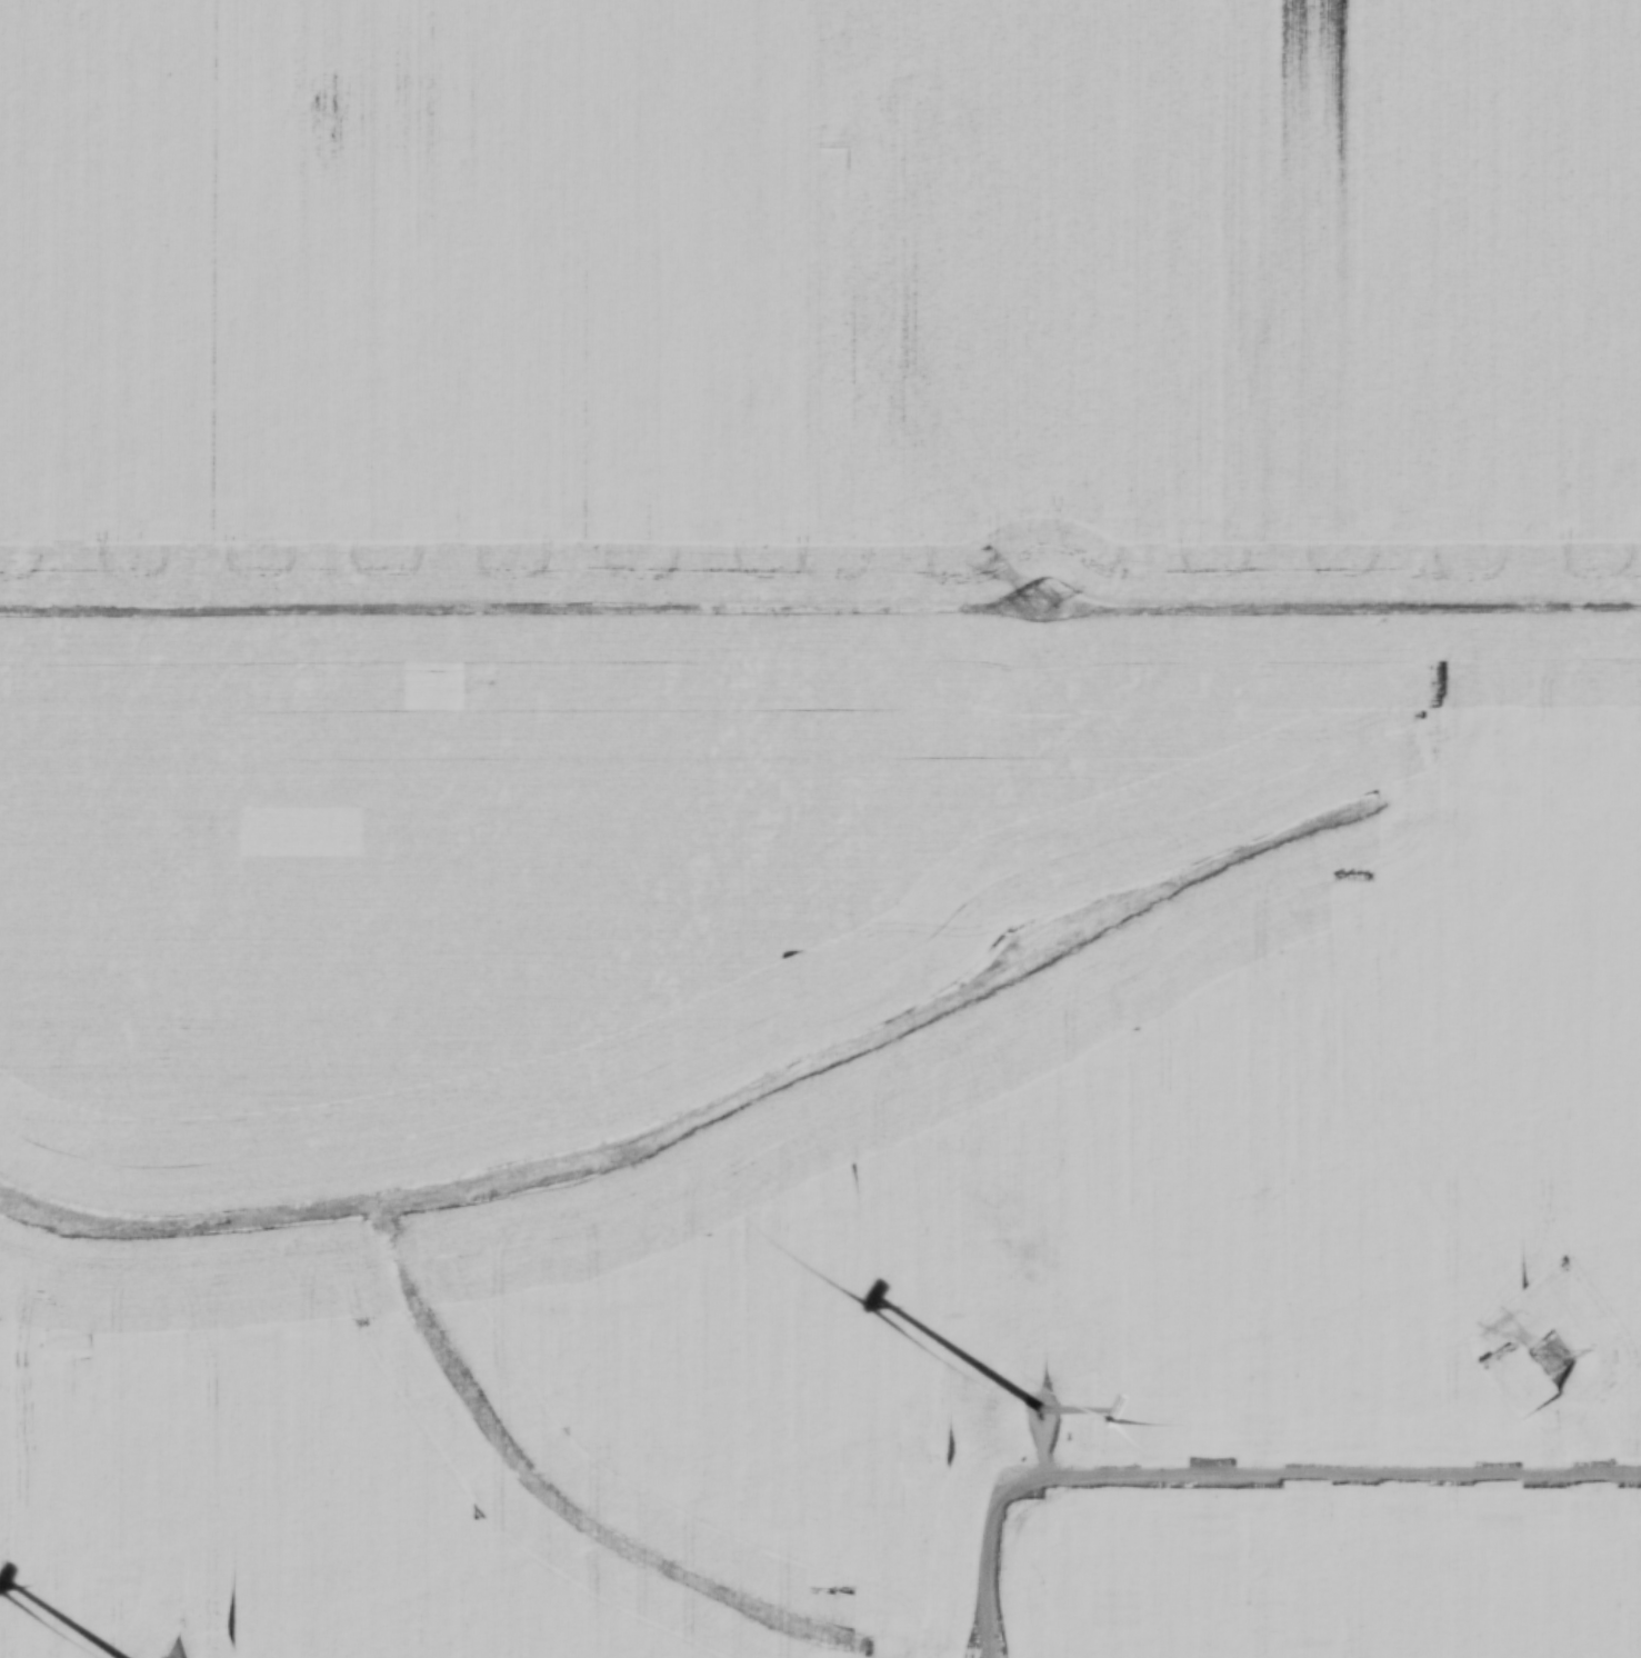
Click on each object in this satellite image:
power tower: (1042, 599)
power tower: (1553, 1358)
wind turbine: (1045, 1412)

